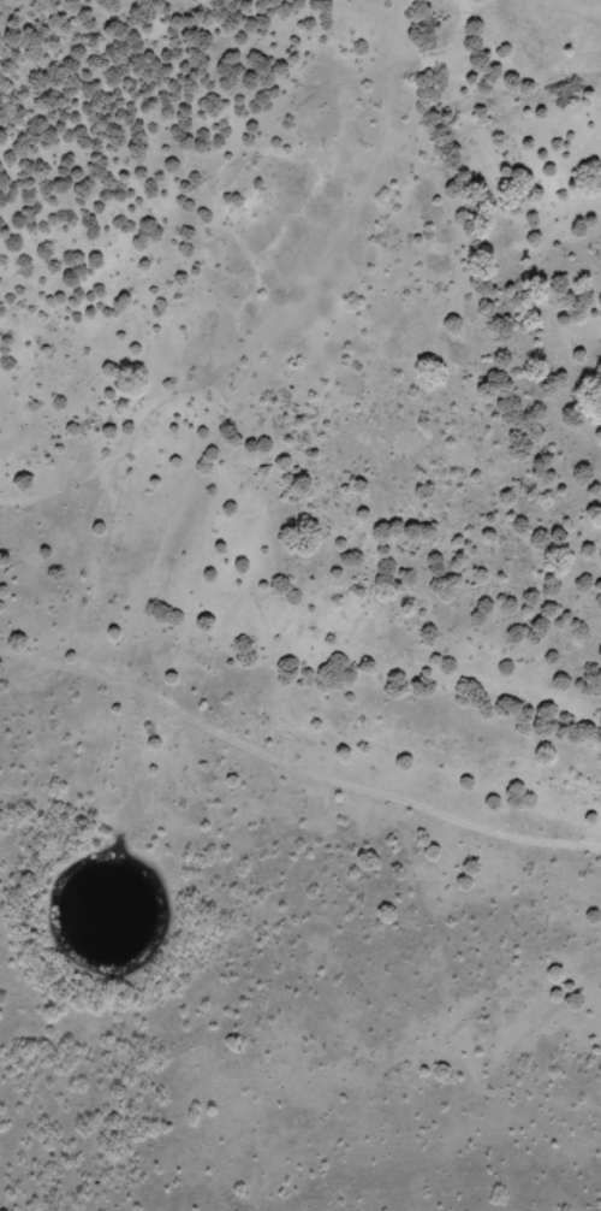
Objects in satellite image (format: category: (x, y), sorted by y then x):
road: (299, 327)
road: (294, 805)

